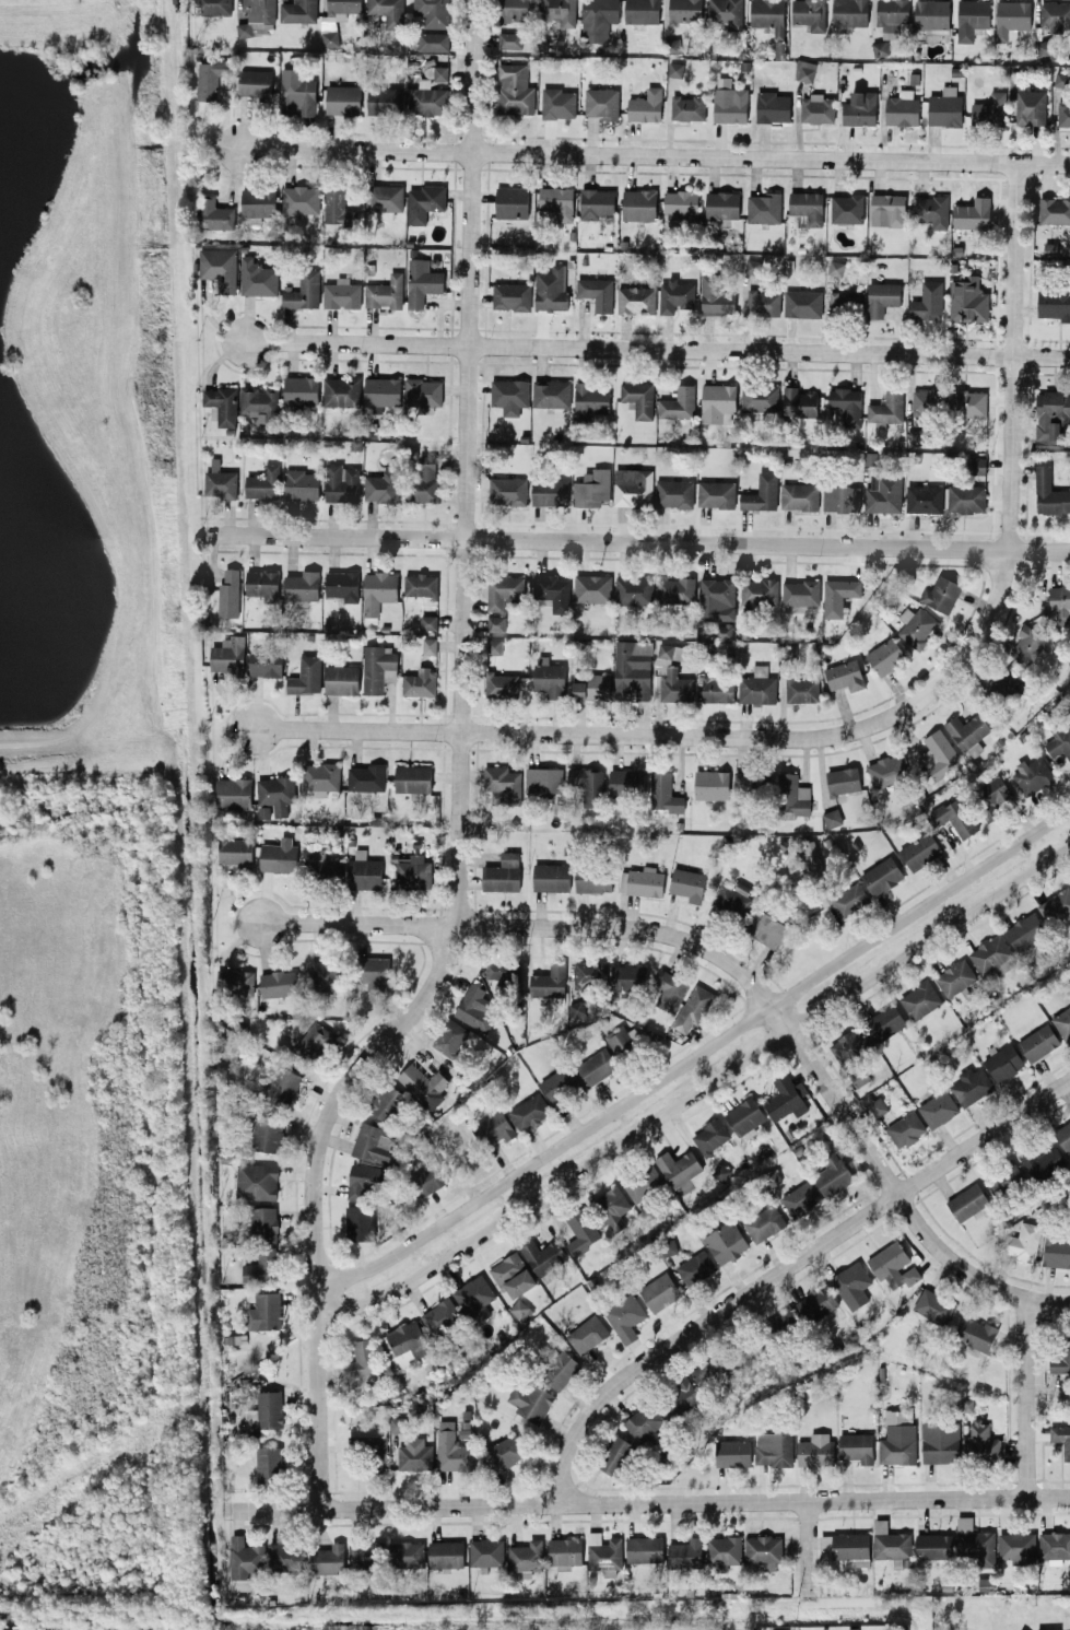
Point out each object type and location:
building: (214, 7)
building: (516, 10)
building: (684, 10)
building: (297, 11)
building: (387, 11)
building: (560, 11)
building: (642, 11)
building: (433, 12)
building: (727, 12)
building: (849, 12)
building: (809, 13)
building: (931, 13)
building: (1055, 15)
building: (257, 17)
building: (598, 17)
building: (971, 17)
building: (336, 19)
building: (1011, 19)
building: (769, 20)
building: (509, 39)
building: (433, 42)
building: (672, 45)
building: (880, 47)
building: (1045, 49)
building: (674, 68)
building: (804, 70)
building: (440, 72)
building: (210, 78)
building: (1061, 79)
building: (255, 82)
building: (514, 90)
building: (296, 95)
building: (427, 97)
building: (342, 99)
building: (385, 101)
building: (601, 102)
building: (557, 103)
building: (729, 104)
building: (645, 105)
building: (773, 106)
building: (687, 107)
building: (944, 107)
building: (1031, 107)
building: (816, 108)
building: (859, 108)
building: (902, 109)
building: (988, 110)
building: (1062, 114)
road: (655, 154)
building: (299, 199)
building: (385, 199)
building: (424, 201)
building: (556, 201)
building: (258, 202)
building: (512, 202)
building: (596, 203)
building: (638, 204)
building: (721, 204)
building: (336, 206)
building: (681, 206)
building: (807, 207)
building: (764, 208)
building: (846, 208)
building: (887, 210)
building: (931, 210)
building: (1054, 210)
building: (973, 213)
building: (214, 214)
building: (752, 266)
building: (219, 267)
building: (835, 268)
building: (258, 278)
building: (421, 282)
building: (551, 288)
building: (304, 290)
building: (385, 292)
building: (596, 292)
building: (341, 293)
building: (675, 294)
building: (510, 295)
building: (715, 296)
building: (881, 297)
building: (635, 300)
building: (967, 300)
building: (845, 302)
building: (927, 302)
building: (1054, 302)
building: (763, 303)
building: (802, 303)
road: (657, 351)
road: (1014, 356)
building: (299, 389)
building: (381, 390)
building: (341, 391)
building: (423, 391)
building: (551, 392)
building: (509, 395)
building: (759, 397)
building: (590, 398)
building: (638, 398)
building: (925, 400)
building: (717, 402)
building: (798, 402)
building: (678, 403)
building: (847, 403)
building: (222, 404)
building: (260, 406)
building: (887, 407)
building: (1050, 417)
building: (916, 436)
building: (978, 465)
building: (425, 479)
building: (341, 482)
building: (220, 483)
building: (262, 483)
building: (302, 484)
building: (633, 485)
building: (381, 486)
building: (591, 488)
building: (507, 490)
building: (550, 491)
building: (673, 492)
building: (883, 492)
building: (716, 493)
building: (761, 493)
building: (1049, 493)
building: (799, 495)
building: (840, 497)
building: (965, 497)
building: (924, 499)
road: (636, 541)
building: (261, 583)
building: (420, 584)
building: (342, 585)
building: (302, 587)
building: (592, 588)
building: (633, 589)
building: (675, 589)
building: (378, 590)
building: (551, 590)
building: (503, 591)
building: (759, 591)
building: (799, 591)
building: (228, 593)
building: (940, 593)
building: (837, 595)
building: (716, 598)
building: (1059, 599)
building: (428, 621)
building: (495, 623)
building: (916, 626)
building: (722, 630)
building: (1026, 643)
building: (428, 645)
building: (494, 646)
building: (228, 655)
building: (884, 656)
building: (266, 662)
building: (378, 668)
building: (632, 668)
building: (672, 672)
building: (844, 675)
building: (306, 676)
building: (549, 678)
building: (341, 679)
building: (1013, 680)
building: (420, 682)
building: (501, 684)
building: (756, 685)
building: (591, 687)
building: (716, 688)
building: (801, 689)
building: (966, 730)
road: (681, 732)
building: (1059, 741)
building: (939, 753)
building: (886, 769)
building: (1032, 775)
road: (460, 776)
building: (320, 778)
building: (412, 778)
building: (543, 779)
building: (843, 779)
building: (621, 782)
building: (751, 782)
building: (502, 784)
building: (588, 784)
building: (710, 784)
building: (233, 791)
building: (663, 791)
building: (275, 793)
building: (792, 794)
building: (991, 795)
building: (953, 816)
building: (832, 817)
park: (103, 836)
building: (234, 851)
building: (919, 851)
building: (279, 855)
building: (812, 858)
building: (325, 866)
building: (364, 871)
building: (411, 871)
building: (502, 873)
building: (550, 876)
building: (881, 876)
building: (592, 880)
building: (642, 880)
building: (686, 883)
building: (731, 896)
building: (849, 899)
building: (1057, 907)
building: (765, 928)
building: (1024, 930)
building: (991, 954)
road: (740, 968)
building: (375, 970)
building: (588, 973)
building: (324, 975)
building: (626, 976)
building: (954, 978)
building: (236, 982)
building: (279, 983)
building: (548, 983)
building: (669, 989)
building: (919, 998)
building: (693, 1007)
building: (474, 1008)
building: (576, 1008)
building: (1062, 1021)
building: (884, 1022)
building: (449, 1037)
building: (622, 1039)
building: (313, 1040)
building: (1037, 1042)
building: (848, 1045)
road: (697, 1055)
building: (1002, 1062)
building: (596, 1066)
building: (558, 1084)
building: (969, 1084)
building: (423, 1086)
road: (698, 1091)
building: (785, 1098)
building: (384, 1104)
building: (877, 1105)
building: (938, 1107)
building: (528, 1110)
building: (744, 1116)
building: (495, 1127)
building: (905, 1128)
building: (267, 1133)
building: (710, 1136)
building: (1062, 1136)
building: (373, 1142)
building: (1039, 1160)
building: (678, 1166)
building: (832, 1174)
building: (431, 1175)
building: (1003, 1177)
building: (256, 1181)
building: (365, 1181)
building: (642, 1182)
building: (800, 1197)
building: (966, 1201)
building: (610, 1206)
building: (360, 1222)
building: (763, 1222)
building: (264, 1223)
building: (580, 1230)
building: (725, 1241)
building: (1020, 1241)
building: (1056, 1251)
building: (542, 1255)
building: (892, 1265)
building: (695, 1267)
building: (259, 1268)
road: (784, 1268)
building: (512, 1275)
building: (851, 1283)
building: (658, 1291)
building: (475, 1295)
building: (816, 1302)
building: (932, 1305)
building: (520, 1309)
building: (264, 1311)
building: (439, 1315)
building: (624, 1316)
building: (784, 1320)
building: (974, 1333)
building: (587, 1334)
building: (407, 1342)
building: (1060, 1358)
building: (361, 1360)
building: (558, 1368)
building: (712, 1371)
building: (681, 1393)
building: (530, 1398)
road: (1024, 1398)
building: (269, 1408)
building: (397, 1423)
building: (643, 1423)
building: (897, 1436)
building: (1061, 1439)
building: (981, 1441)
building: (938, 1442)
building: (856, 1446)
building: (773, 1447)
building: (451, 1449)
building: (814, 1450)
building: (375, 1451)
building: (505, 1451)
building: (732, 1452)
building: (414, 1454)
building: (613, 1454)
building: (268, 1463)
road: (647, 1501)
building: (1054, 1544)
building: (891, 1545)
building: (933, 1545)
building: (1015, 1545)
road: (806, 1546)
building: (847, 1546)
building: (977, 1546)
building: (643, 1548)
building: (721, 1550)
building: (485, 1551)
building: (564, 1551)
building: (762, 1551)
building: (408, 1552)
building: (602, 1552)
building: (685, 1552)
building: (363, 1553)
building: (445, 1553)
building: (285, 1556)
building: (526, 1556)
building: (245, 1557)
building: (327, 1559)
building: (853, 1628)
building: (1047, 1629)

